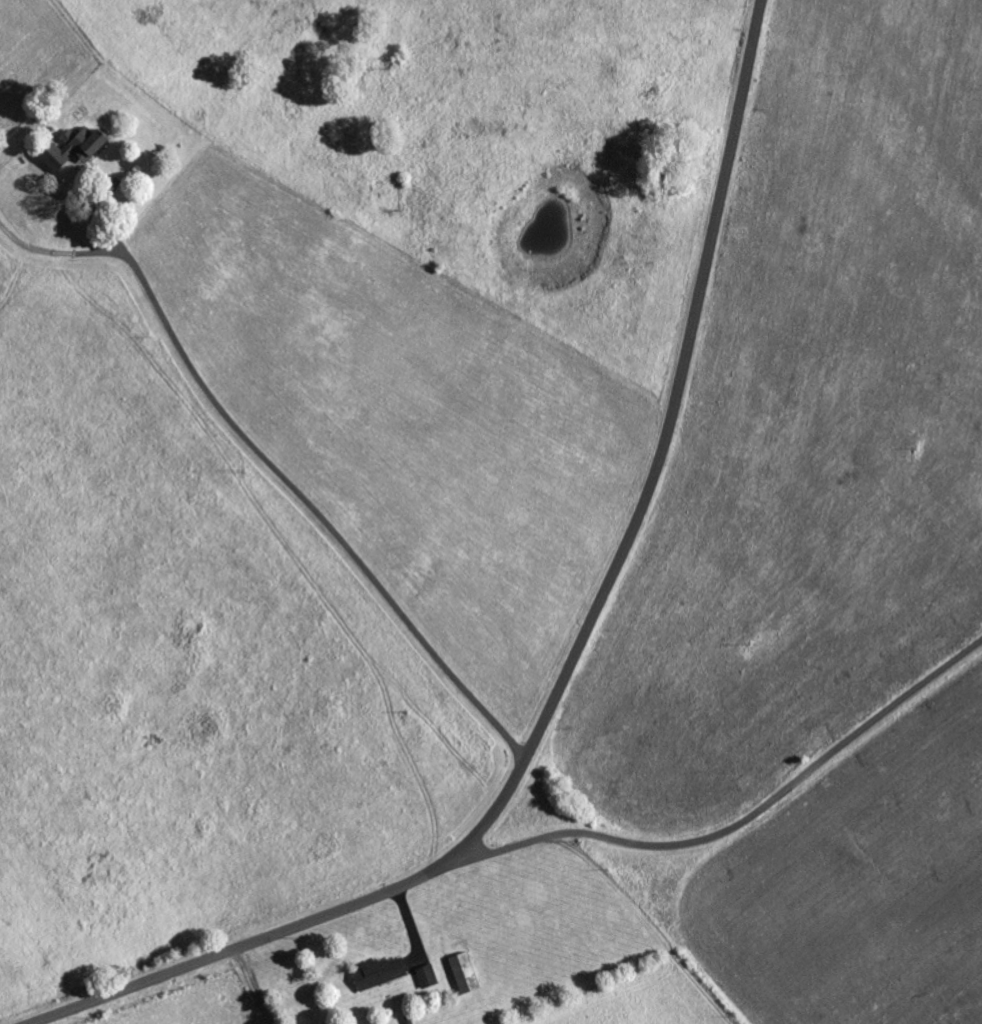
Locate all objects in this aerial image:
building: (69, 148)
park: (666, 153)
road: (574, 657)
road: (744, 820)
building: (376, 971)
building: (462, 971)
building: (425, 975)

